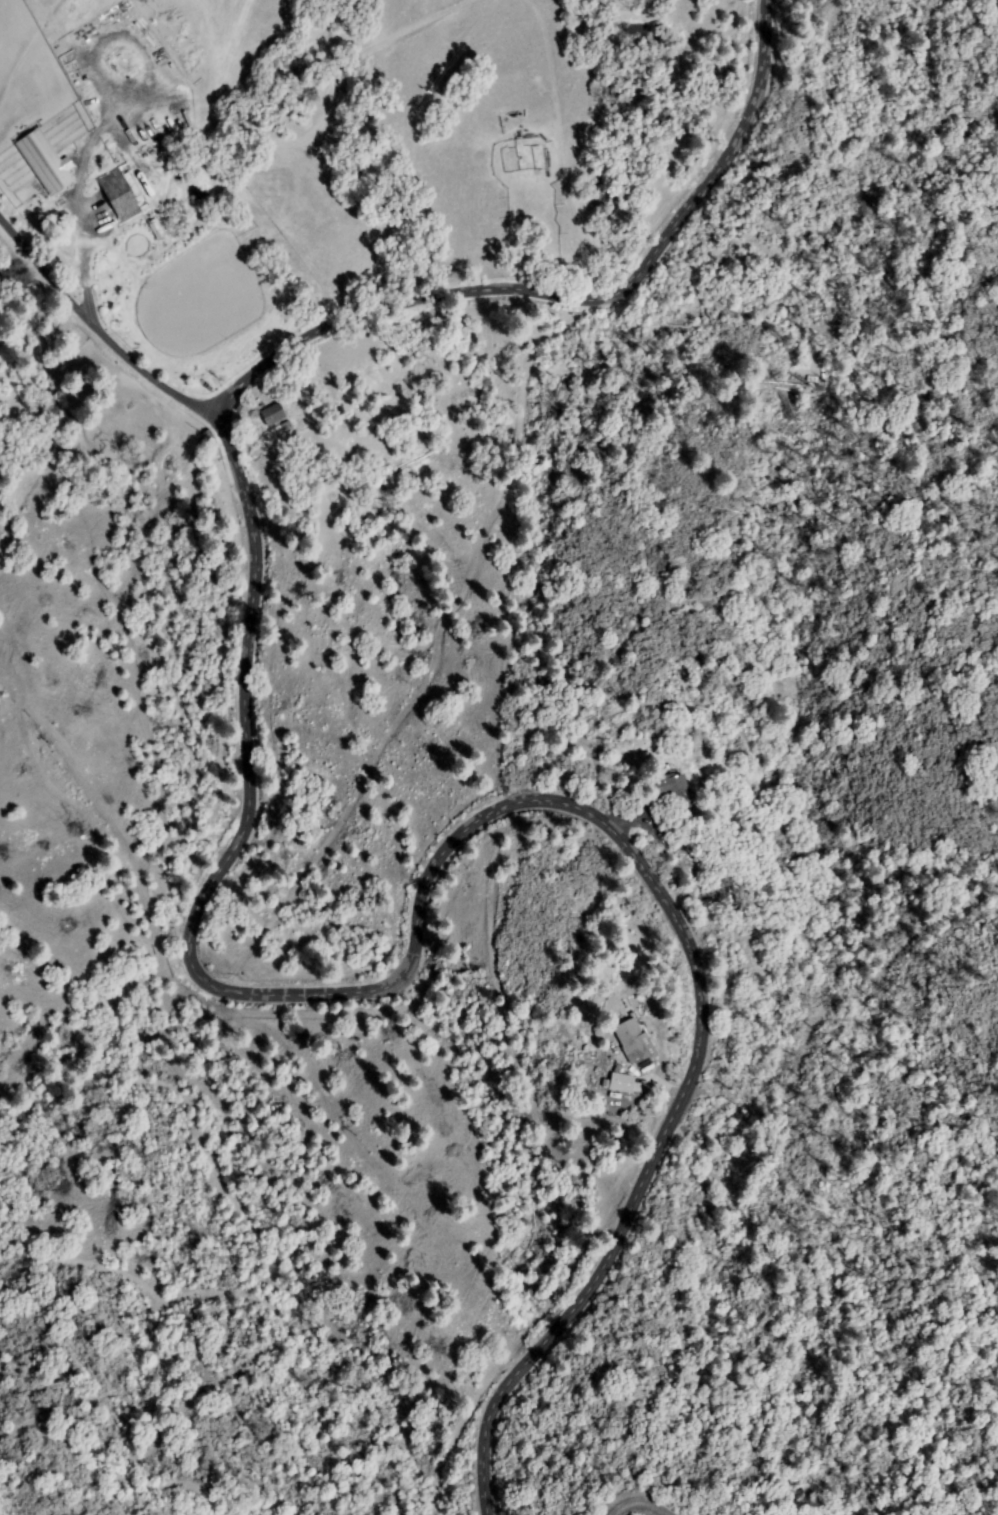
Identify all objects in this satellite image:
road: (747, 62)
building: (120, 196)
road: (103, 325)
building: (243, 408)
building: (274, 416)
building: (288, 426)
building: (208, 440)
building: (674, 791)
road: (189, 951)
building: (633, 1041)
building: (621, 1082)
road: (638, 1498)

